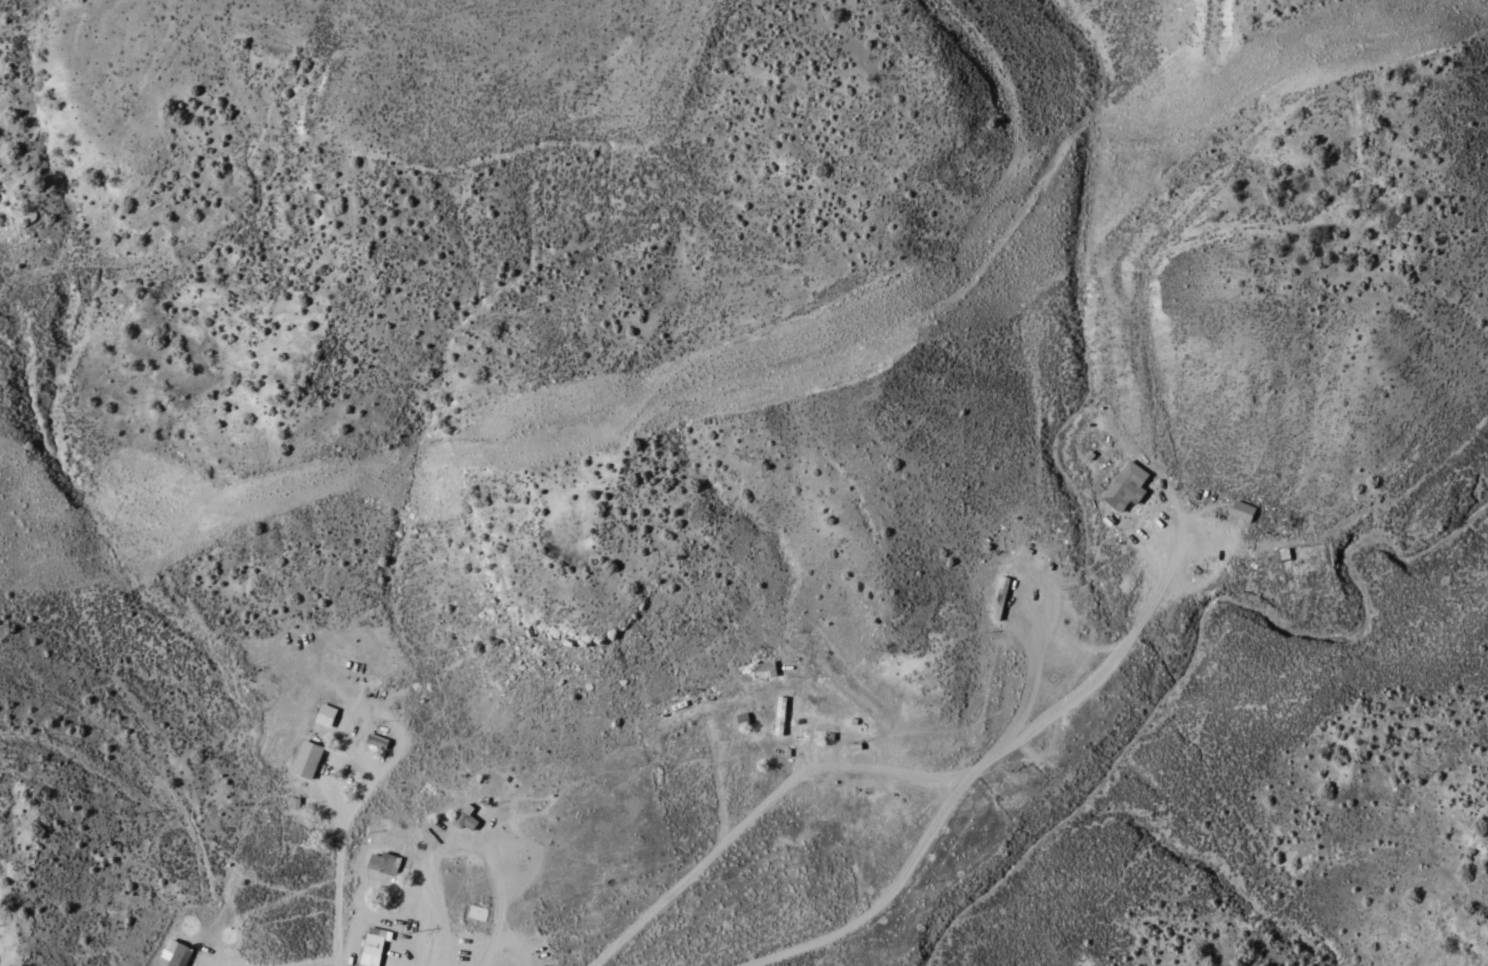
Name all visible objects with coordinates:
railway: (1349, 36)
railway: (1085, 187)
railway: (482, 440)
building: (1122, 492)
building: (1243, 511)
building: (1000, 600)
building: (782, 716)
building: (308, 760)
building: (383, 863)
building: (375, 943)
building: (176, 955)

